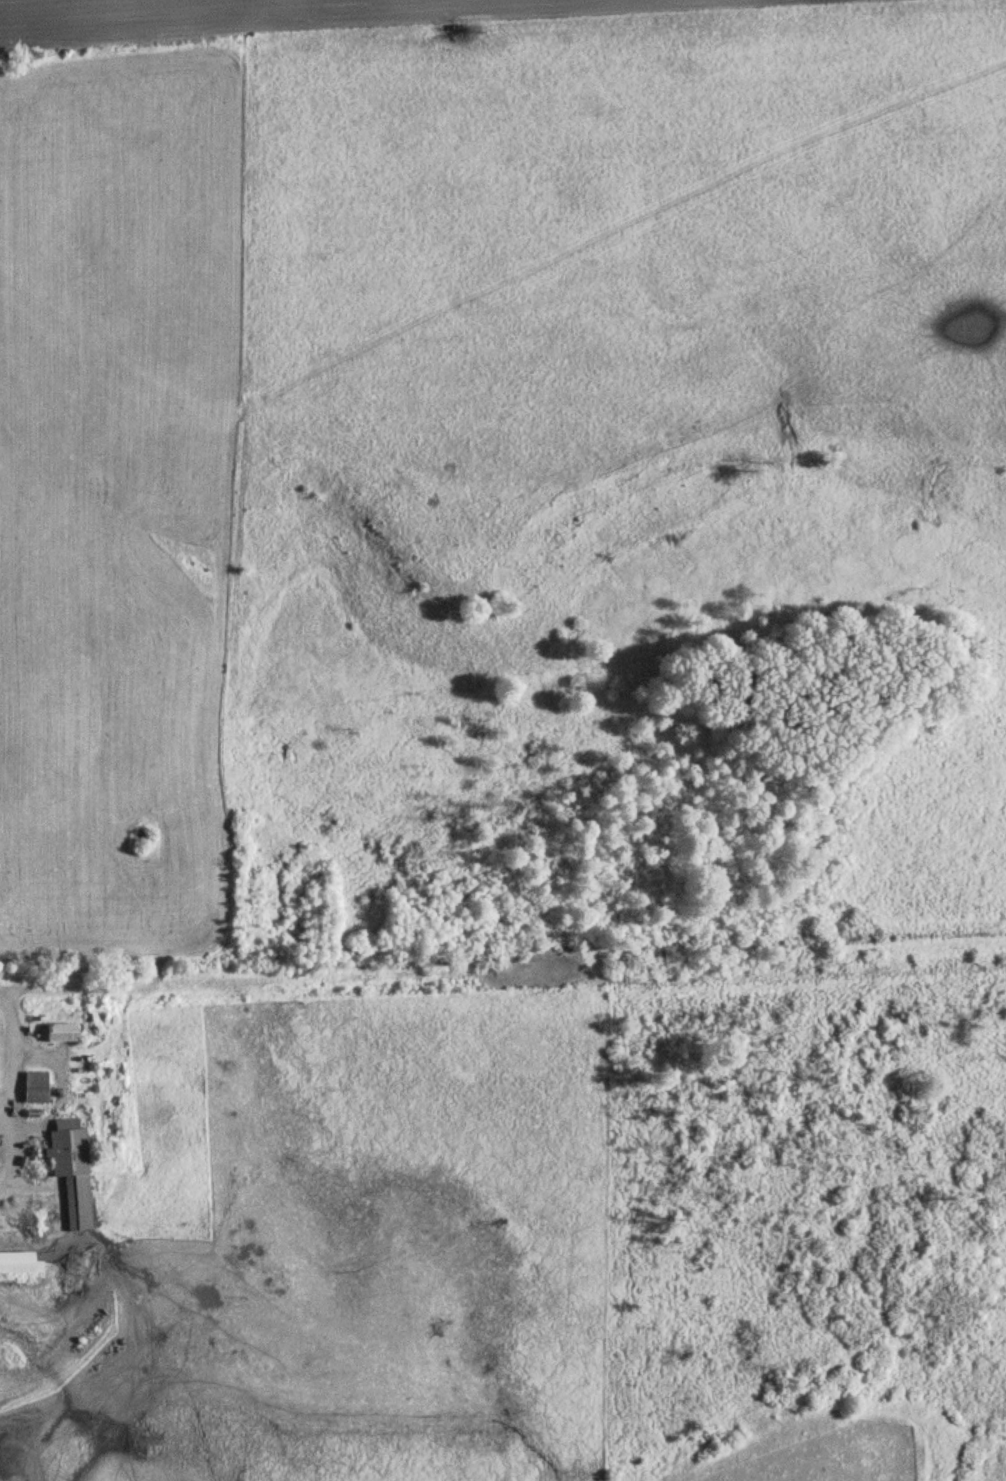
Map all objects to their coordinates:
building: (58, 1033)
building: (34, 1088)
building: (70, 1171)
building: (17, 1264)

